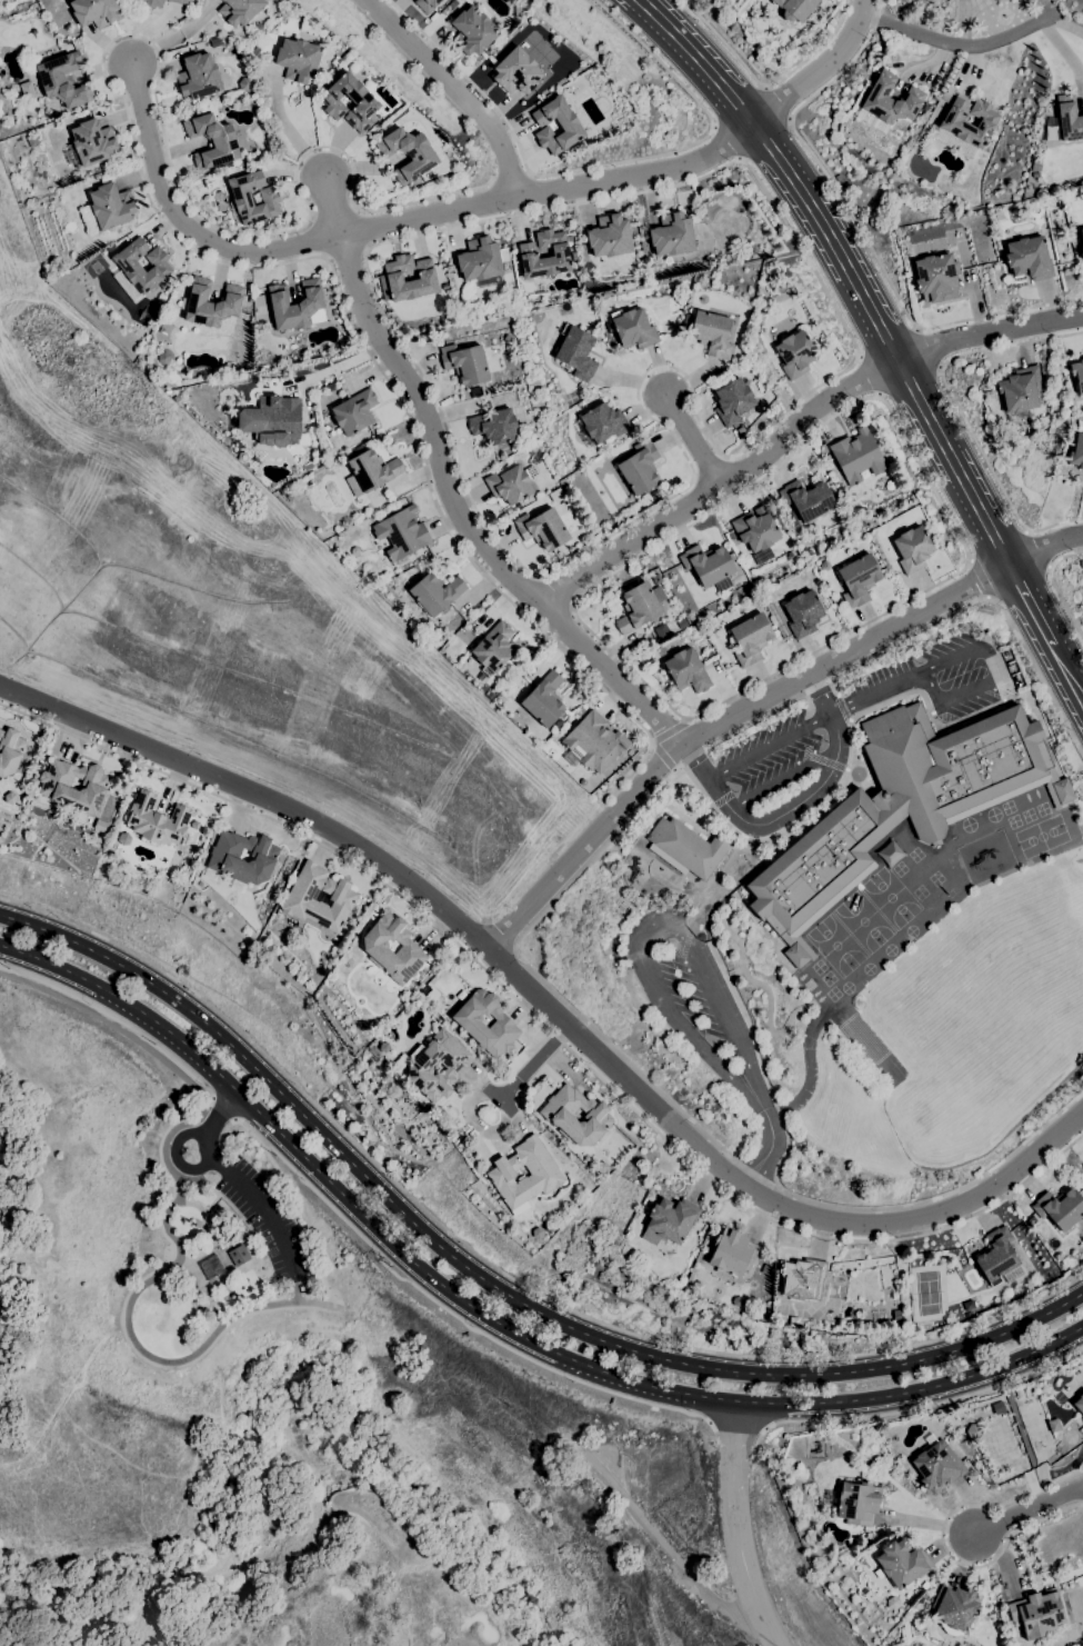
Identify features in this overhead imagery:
building: (997, 0)
building: (180, 1)
building: (153, 3)
building: (451, 3)
building: (427, 4)
building: (795, 8)
building: (239, 10)
building: (93, 11)
building: (472, 31)
road: (673, 34)
building: (214, 41)
road: (951, 42)
building: (298, 59)
road: (818, 69)
building: (515, 71)
building: (198, 77)
building: (63, 80)
building: (244, 83)
road: (765, 84)
road: (764, 87)
road: (457, 88)
road: (730, 96)
building: (890, 99)
building: (365, 102)
road: (774, 103)
building: (1069, 118)
road: (789, 119)
building: (568, 124)
building: (966, 127)
road: (713, 128)
building: (31, 140)
building: (211, 140)
building: (91, 142)
road: (726, 142)
road: (771, 148)
building: (408, 153)
road: (813, 157)
road: (739, 159)
road: (599, 164)
building: (102, 166)
road: (529, 174)
road: (510, 178)
road: (491, 181)
building: (270, 199)
road: (331, 207)
building: (107, 208)
road: (388, 223)
building: (671, 235)
building: (1082, 235)
building: (609, 236)
building: (1082, 251)
building: (528, 252)
building: (1027, 258)
building: (479, 260)
road: (227, 262)
building: (128, 265)
building: (936, 277)
building: (422, 280)
building: (210, 302)
building: (295, 305)
road: (997, 315)
building: (633, 328)
building: (711, 333)
road: (990, 336)
road: (930, 347)
building: (575, 351)
building: (795, 353)
building: (464, 362)
road: (337, 365)
road: (903, 370)
building: (1077, 376)
road: (868, 377)
building: (1021, 393)
building: (732, 401)
road: (960, 409)
building: (354, 411)
building: (270, 421)
building: (603, 422)
building: (493, 426)
building: (740, 430)
road: (693, 438)
building: (358, 449)
building: (1076, 452)
building: (856, 456)
building: (639, 467)
building: (372, 469)
building: (1082, 476)
building: (510, 483)
road: (720, 483)
building: (808, 499)
road: (462, 520)
road: (952, 526)
building: (542, 528)
building: (755, 529)
building: (401, 532)
building: (909, 546)
road: (1040, 549)
road: (578, 552)
road: (1046, 557)
building: (709, 566)
building: (655, 579)
building: (858, 579)
road: (977, 579)
road: (1055, 587)
building: (435, 592)
road: (1031, 606)
building: (638, 608)
building: (802, 613)
building: (681, 624)
building: (661, 631)
building: (750, 638)
building: (492, 648)
road: (969, 649)
building: (708, 652)
building: (686, 670)
road: (1067, 672)
parking lot: (940, 676)
road: (930, 682)
road: (876, 691)
road: (964, 691)
building: (543, 699)
road: (721, 721)
road: (668, 728)
building: (590, 739)
road: (770, 745)
parking lot: (766, 750)
building: (10, 751)
road: (663, 754)
road: (696, 759)
road: (782, 776)
building: (54, 788)
road: (811, 792)
building: (9, 798)
building: (900, 805)
building: (156, 820)
building: (100, 826)
park: (1041, 835)
building: (686, 847)
building: (225, 862)
park: (890, 896)
building: (300, 897)
road: (539, 914)
park: (862, 920)
road: (502, 932)
park: (835, 945)
building: (375, 949)
parking lot: (686, 990)
road: (720, 994)
road: (550, 1007)
road: (117, 1017)
road: (681, 1020)
building: (469, 1022)
road: (546, 1029)
road: (549, 1045)
building: (420, 1065)
road: (510, 1087)
road: (220, 1111)
building: (555, 1115)
road: (770, 1147)
building: (601, 1167)
building: (543, 1171)
road: (233, 1178)
building: (1060, 1208)
road: (295, 1210)
road: (171, 1214)
building: (671, 1219)
building: (1031, 1220)
building: (731, 1253)
building: (238, 1255)
building: (999, 1258)
road: (494, 1266)
building: (208, 1267)
building: (765, 1269)
building: (671, 1275)
building: (802, 1279)
road: (494, 1283)
park: (239, 1294)
road: (492, 1315)
building: (895, 1315)
road: (455, 1316)
building: (1081, 1374)
building: (1045, 1389)
building: (1019, 1393)
road: (60, 1395)
building: (1079, 1404)
road: (919, 1406)
building: (1082, 1420)
road: (738, 1425)
building: (937, 1465)
building: (858, 1503)
road: (1033, 1510)
road: (736, 1526)
road: (942, 1539)
road: (670, 1554)
park: (369, 1563)
building: (902, 1563)
building: (933, 1584)
building: (924, 1585)
building: (920, 1599)
building: (892, 1603)
building: (954, 1608)
building: (1036, 1613)

